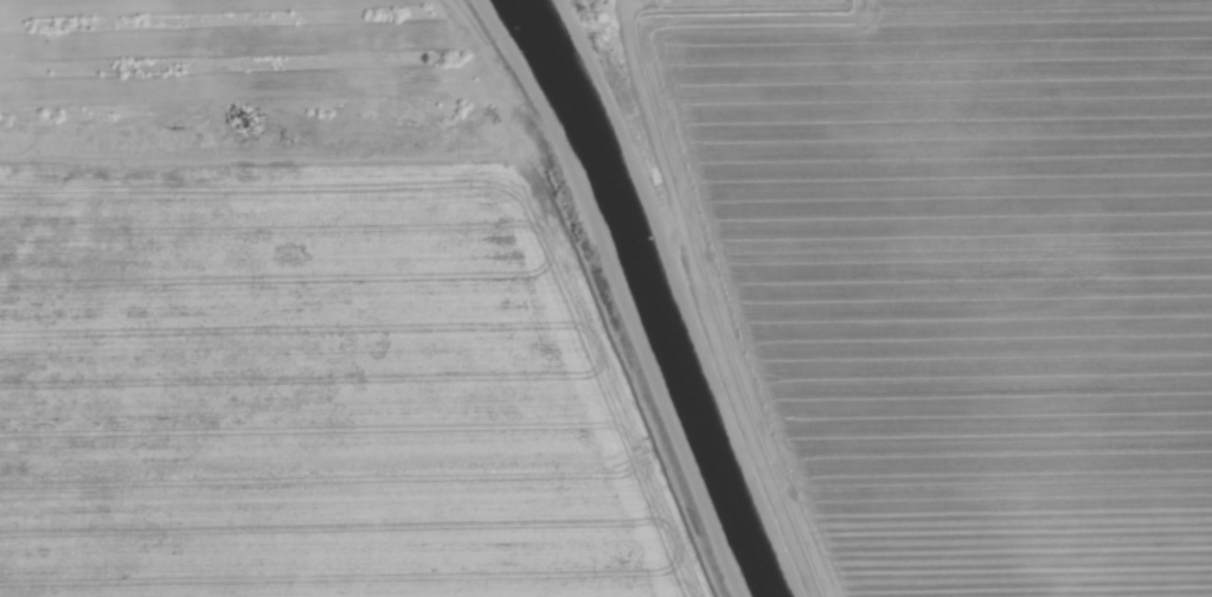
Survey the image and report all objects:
crop: (973, 282)
crop: (318, 389)

